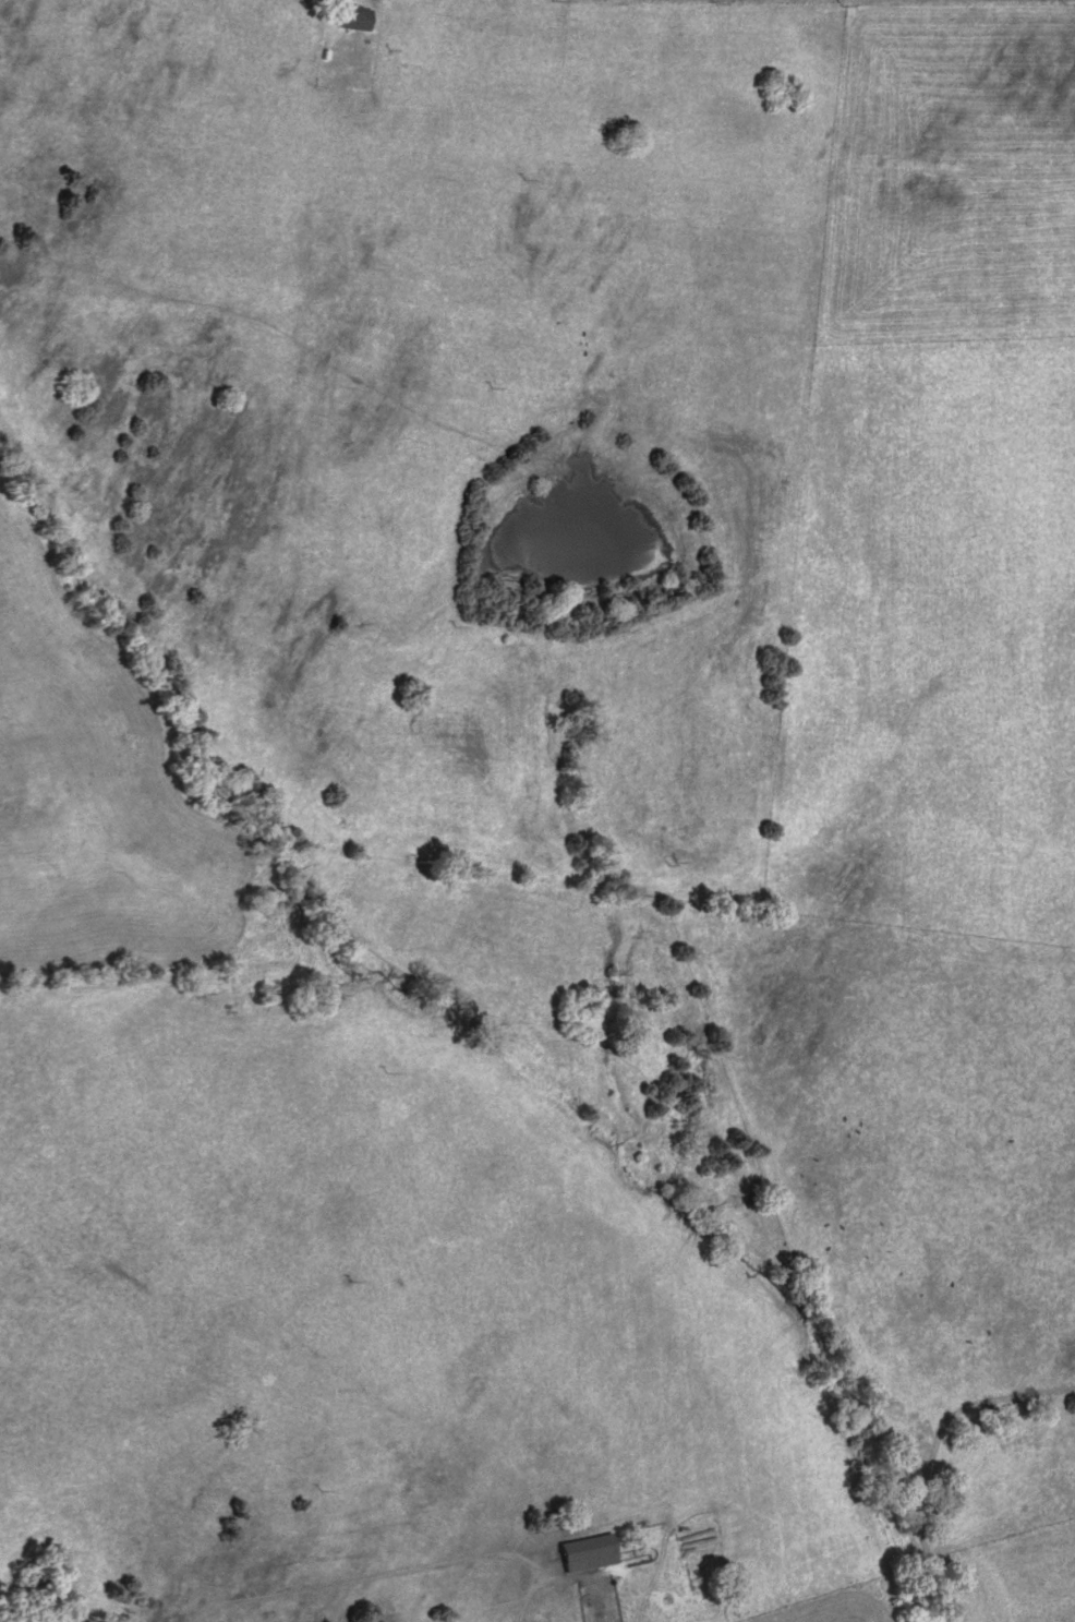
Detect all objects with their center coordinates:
building: (355, 17)
building: (590, 1552)

